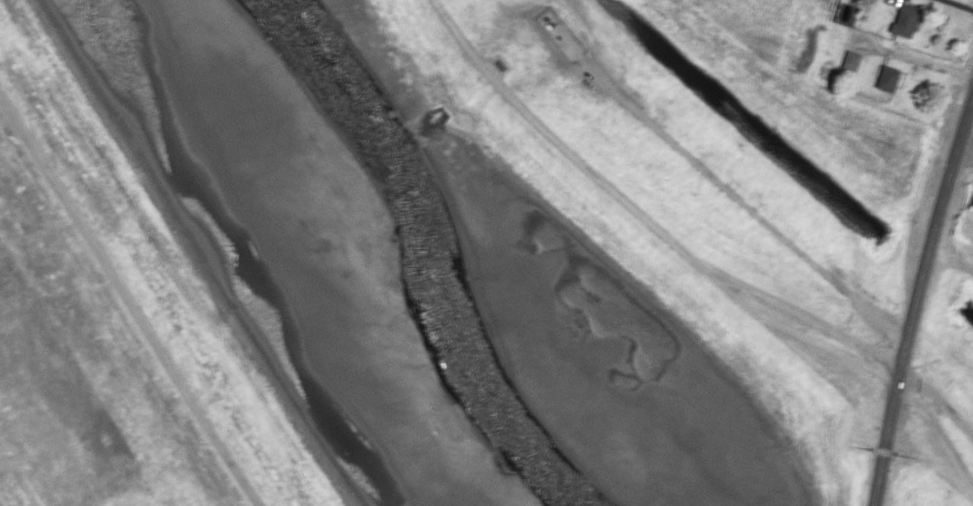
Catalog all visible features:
crop: (970, 1)
crop: (765, 29)
road: (918, 61)
road: (965, 149)
road: (680, 246)
road: (914, 299)
road: (132, 303)
crop: (64, 409)

